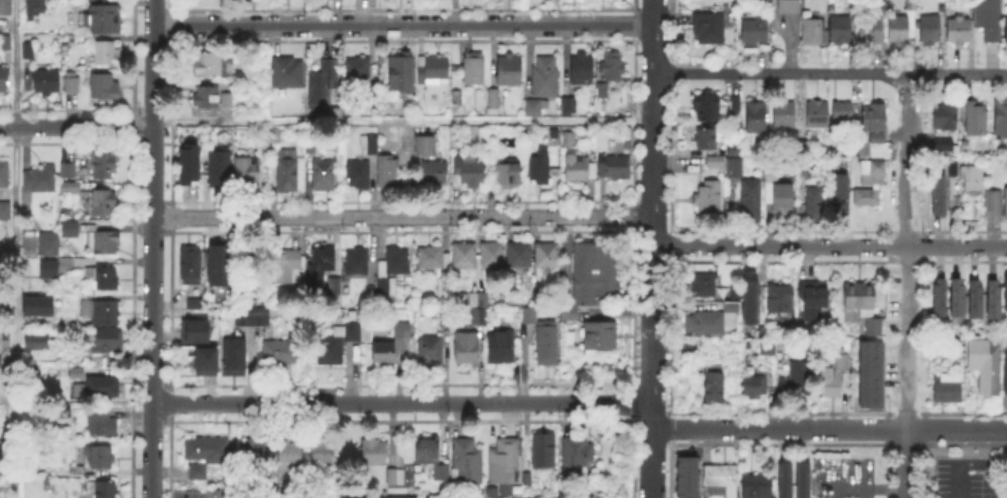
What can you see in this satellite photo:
building: (787, 6)
building: (828, 7)
building: (6, 8)
building: (34, 8)
building: (941, 9)
building: (104, 17)
building: (990, 21)
road: (404, 24)
building: (870, 27)
building: (808, 30)
building: (708, 31)
building: (1006, 31)
building: (754, 32)
building: (840, 32)
building: (929, 32)
building: (898, 33)
building: (959, 33)
building: (6, 43)
building: (29, 50)
building: (106, 52)
building: (211, 63)
building: (612, 68)
building: (474, 69)
building: (581, 69)
building: (434, 70)
building: (508, 71)
road: (830, 71)
building: (288, 72)
building: (402, 72)
building: (360, 74)
building: (4, 78)
building: (544, 78)
building: (47, 81)
building: (73, 81)
building: (105, 86)
building: (325, 88)
building: (603, 91)
building: (207, 97)
building: (457, 97)
building: (497, 98)
building: (227, 99)
building: (568, 106)
building: (715, 106)
building: (535, 107)
building: (783, 117)
building: (817, 117)
building: (842, 117)
building: (756, 118)
building: (946, 118)
building: (1000, 118)
road: (403, 119)
building: (874, 123)
building: (976, 123)
road: (76, 127)
building: (555, 134)
building: (706, 139)
building: (569, 140)
building: (309, 144)
building: (370, 145)
building: (426, 145)
building: (799, 145)
building: (944, 147)
building: (964, 147)
building: (738, 150)
building: (716, 161)
building: (186, 162)
building: (285, 163)
building: (104, 164)
building: (615, 166)
building: (735, 166)
building: (220, 167)
building: (540, 167)
building: (579, 168)
building: (248, 169)
building: (873, 169)
building: (69, 170)
building: (388, 171)
building: (5, 172)
building: (435, 172)
building: (468, 172)
building: (508, 172)
building: (358, 173)
building: (324, 175)
building: (969, 176)
building: (38, 181)
building: (71, 186)
building: (777, 193)
building: (870, 193)
building: (940, 195)
building: (841, 196)
building: (709, 197)
building: (751, 197)
building: (991, 199)
building: (815, 200)
building: (104, 201)
building: (1004, 201)
building: (5, 209)
road: (404, 216)
building: (70, 227)
building: (104, 240)
building: (50, 243)
road: (827, 246)
road: (151, 248)
road: (15, 249)
road: (653, 249)
road: (907, 250)
building: (464, 254)
building: (520, 254)
building: (547, 254)
building: (493, 255)
building: (434, 257)
building: (323, 260)
building: (358, 260)
building: (254, 261)
building: (216, 263)
building: (191, 265)
building: (286, 266)
building: (49, 268)
building: (392, 271)
building: (594, 271)
building: (104, 276)
building: (513, 279)
building: (703, 286)
building: (334, 287)
building: (444, 287)
building: (539, 289)
building: (728, 290)
building: (1006, 292)
building: (860, 297)
building: (939, 297)
building: (958, 297)
building: (471, 298)
building: (748, 298)
building: (976, 298)
building: (781, 299)
building: (813, 299)
building: (994, 299)
building: (39, 304)
building: (195, 305)
building: (477, 307)
building: (101, 311)
building: (569, 312)
building: (251, 315)
building: (446, 318)
building: (713, 319)
building: (874, 326)
building: (195, 329)
building: (599, 334)
building: (544, 337)
building: (37, 341)
building: (111, 341)
building: (393, 343)
building: (337, 344)
building: (501, 347)
building: (768, 347)
building: (430, 348)
building: (467, 348)
building: (687, 348)
building: (232, 353)
building: (280, 353)
building: (204, 359)
building: (0, 360)
building: (986, 364)
building: (1005, 369)
building: (77, 371)
building: (835, 374)
building: (872, 374)
building: (794, 376)
building: (714, 378)
building: (101, 386)
building: (756, 386)
building: (77, 388)
building: (948, 388)
road: (403, 403)
building: (101, 422)
road: (827, 429)
building: (205, 449)
building: (289, 449)
building: (427, 449)
building: (544, 450)
building: (255, 451)
building: (322, 452)
building: (374, 453)
building: (99, 456)
building: (577, 457)
building: (467, 460)
building: (505, 460)
road: (907, 463)
road: (967, 465)
building: (442, 471)
building: (197, 472)
building: (394, 476)
building: (688, 477)
building: (721, 479)
building: (784, 479)
building: (802, 479)
building: (758, 486)
building: (103, 489)
building: (406, 497)

